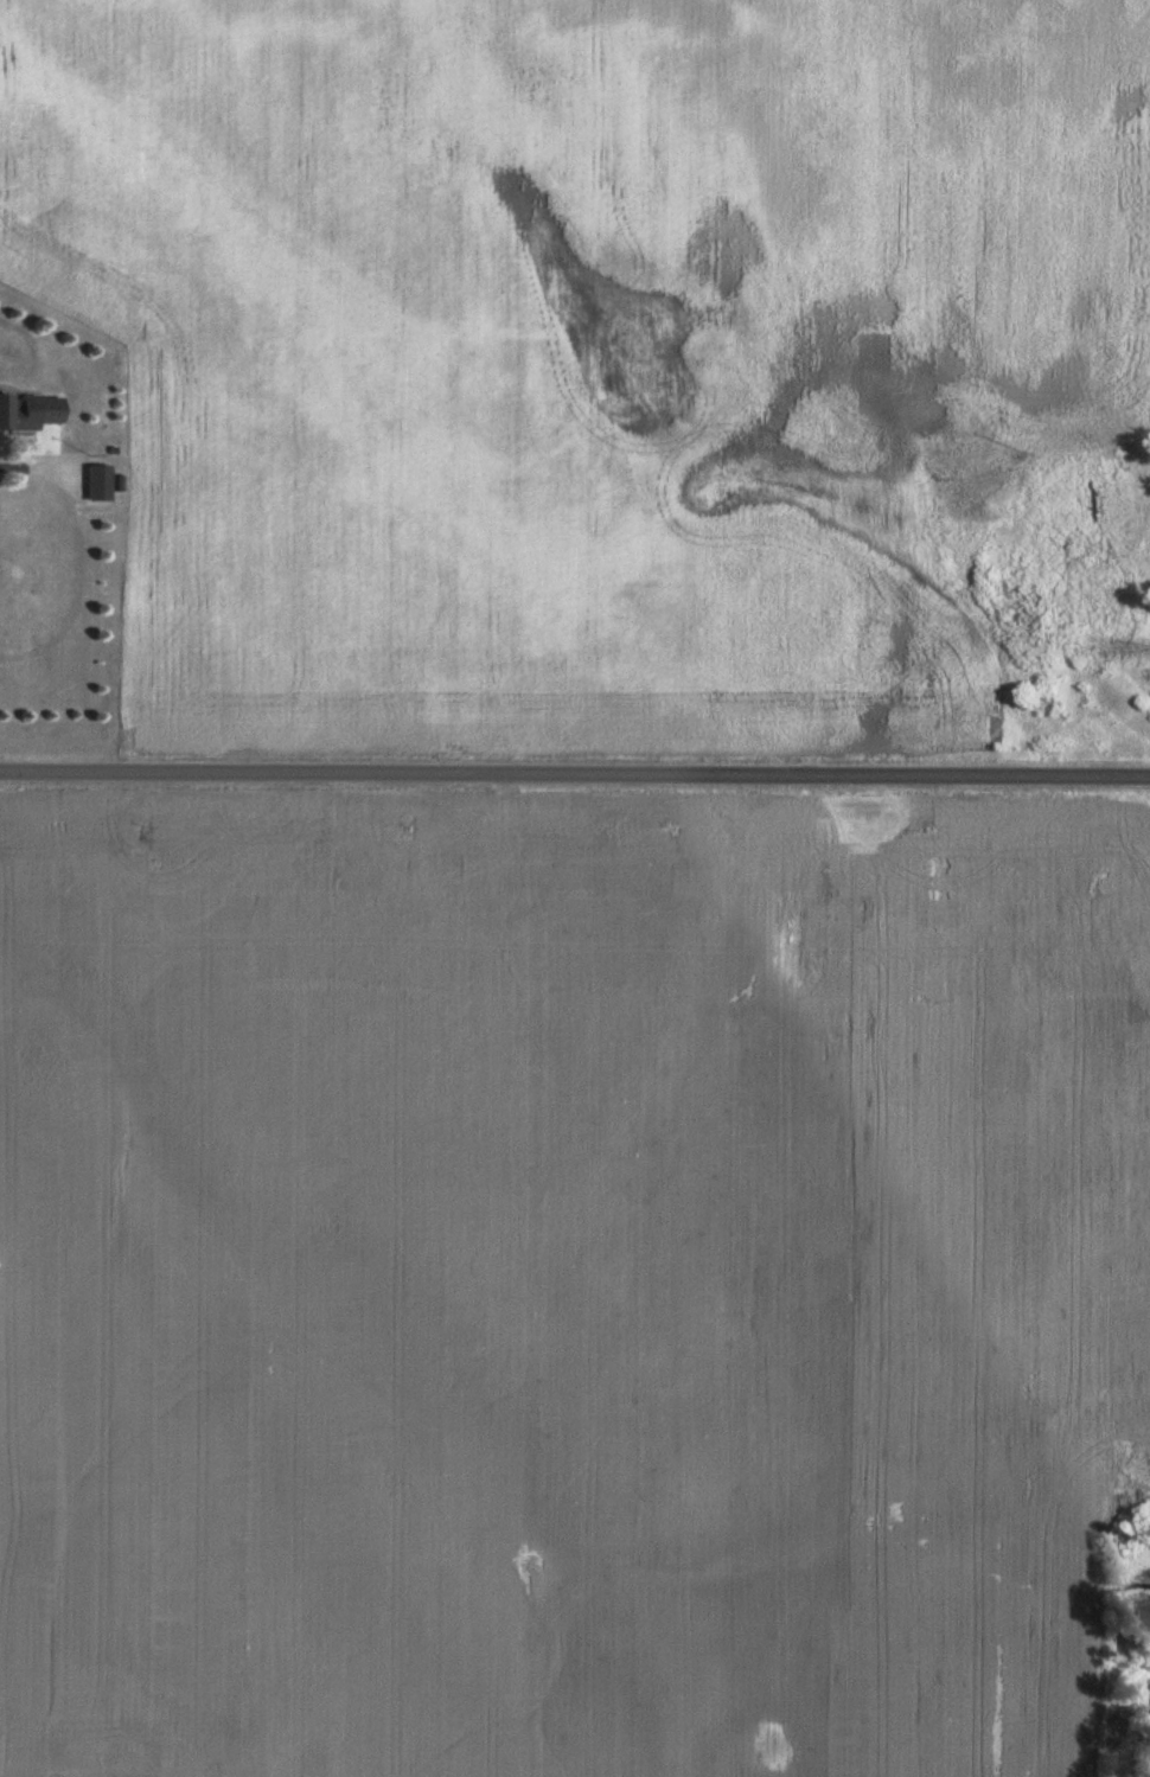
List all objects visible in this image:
building: (32, 408)
building: (94, 480)
road: (575, 769)

